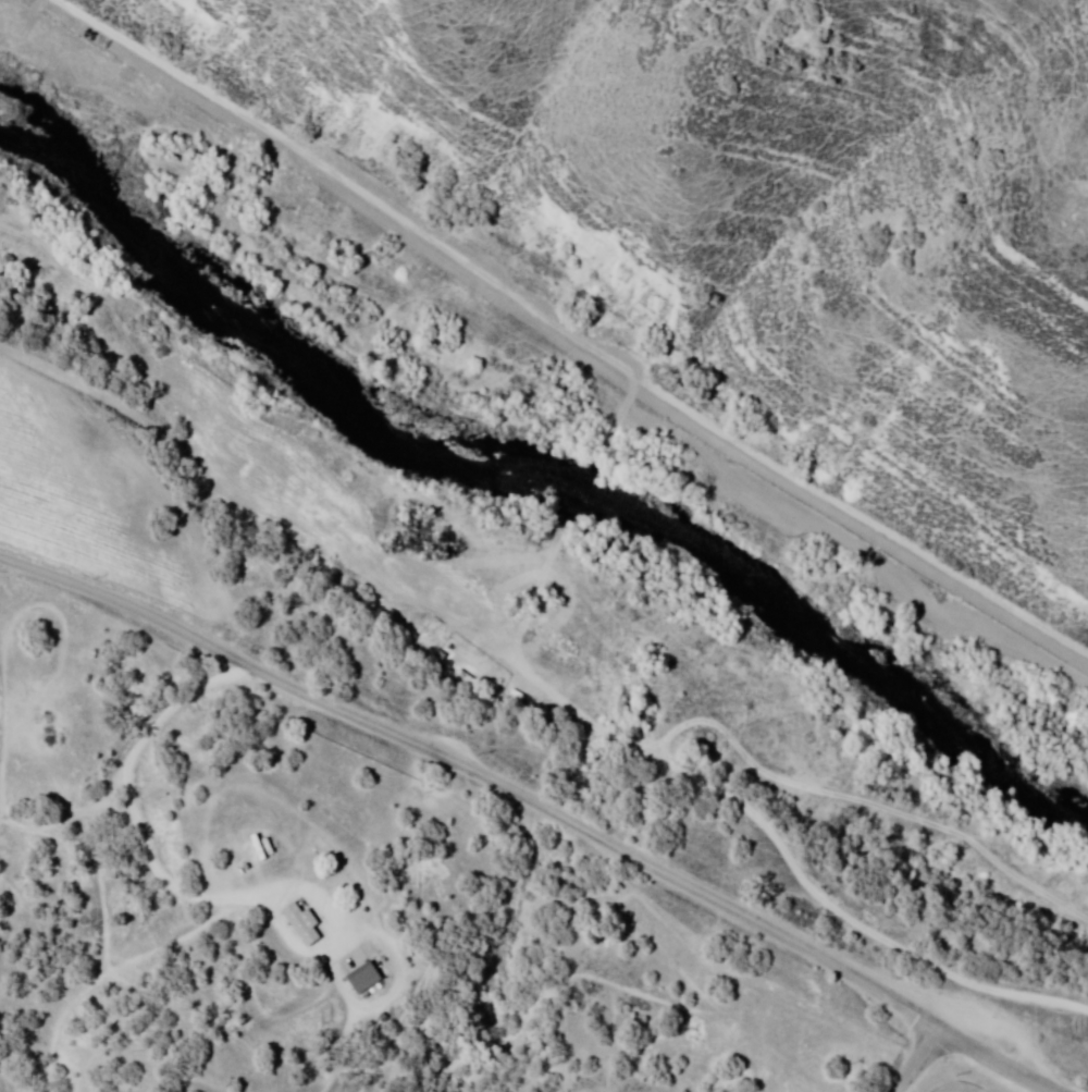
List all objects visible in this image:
river: (82, 175)
road: (573, 334)
river: (507, 443)
river: (960, 684)
road: (482, 772)
road: (164, 878)
building: (304, 922)
building: (364, 976)
road: (920, 1058)
road: (1001, 1058)

